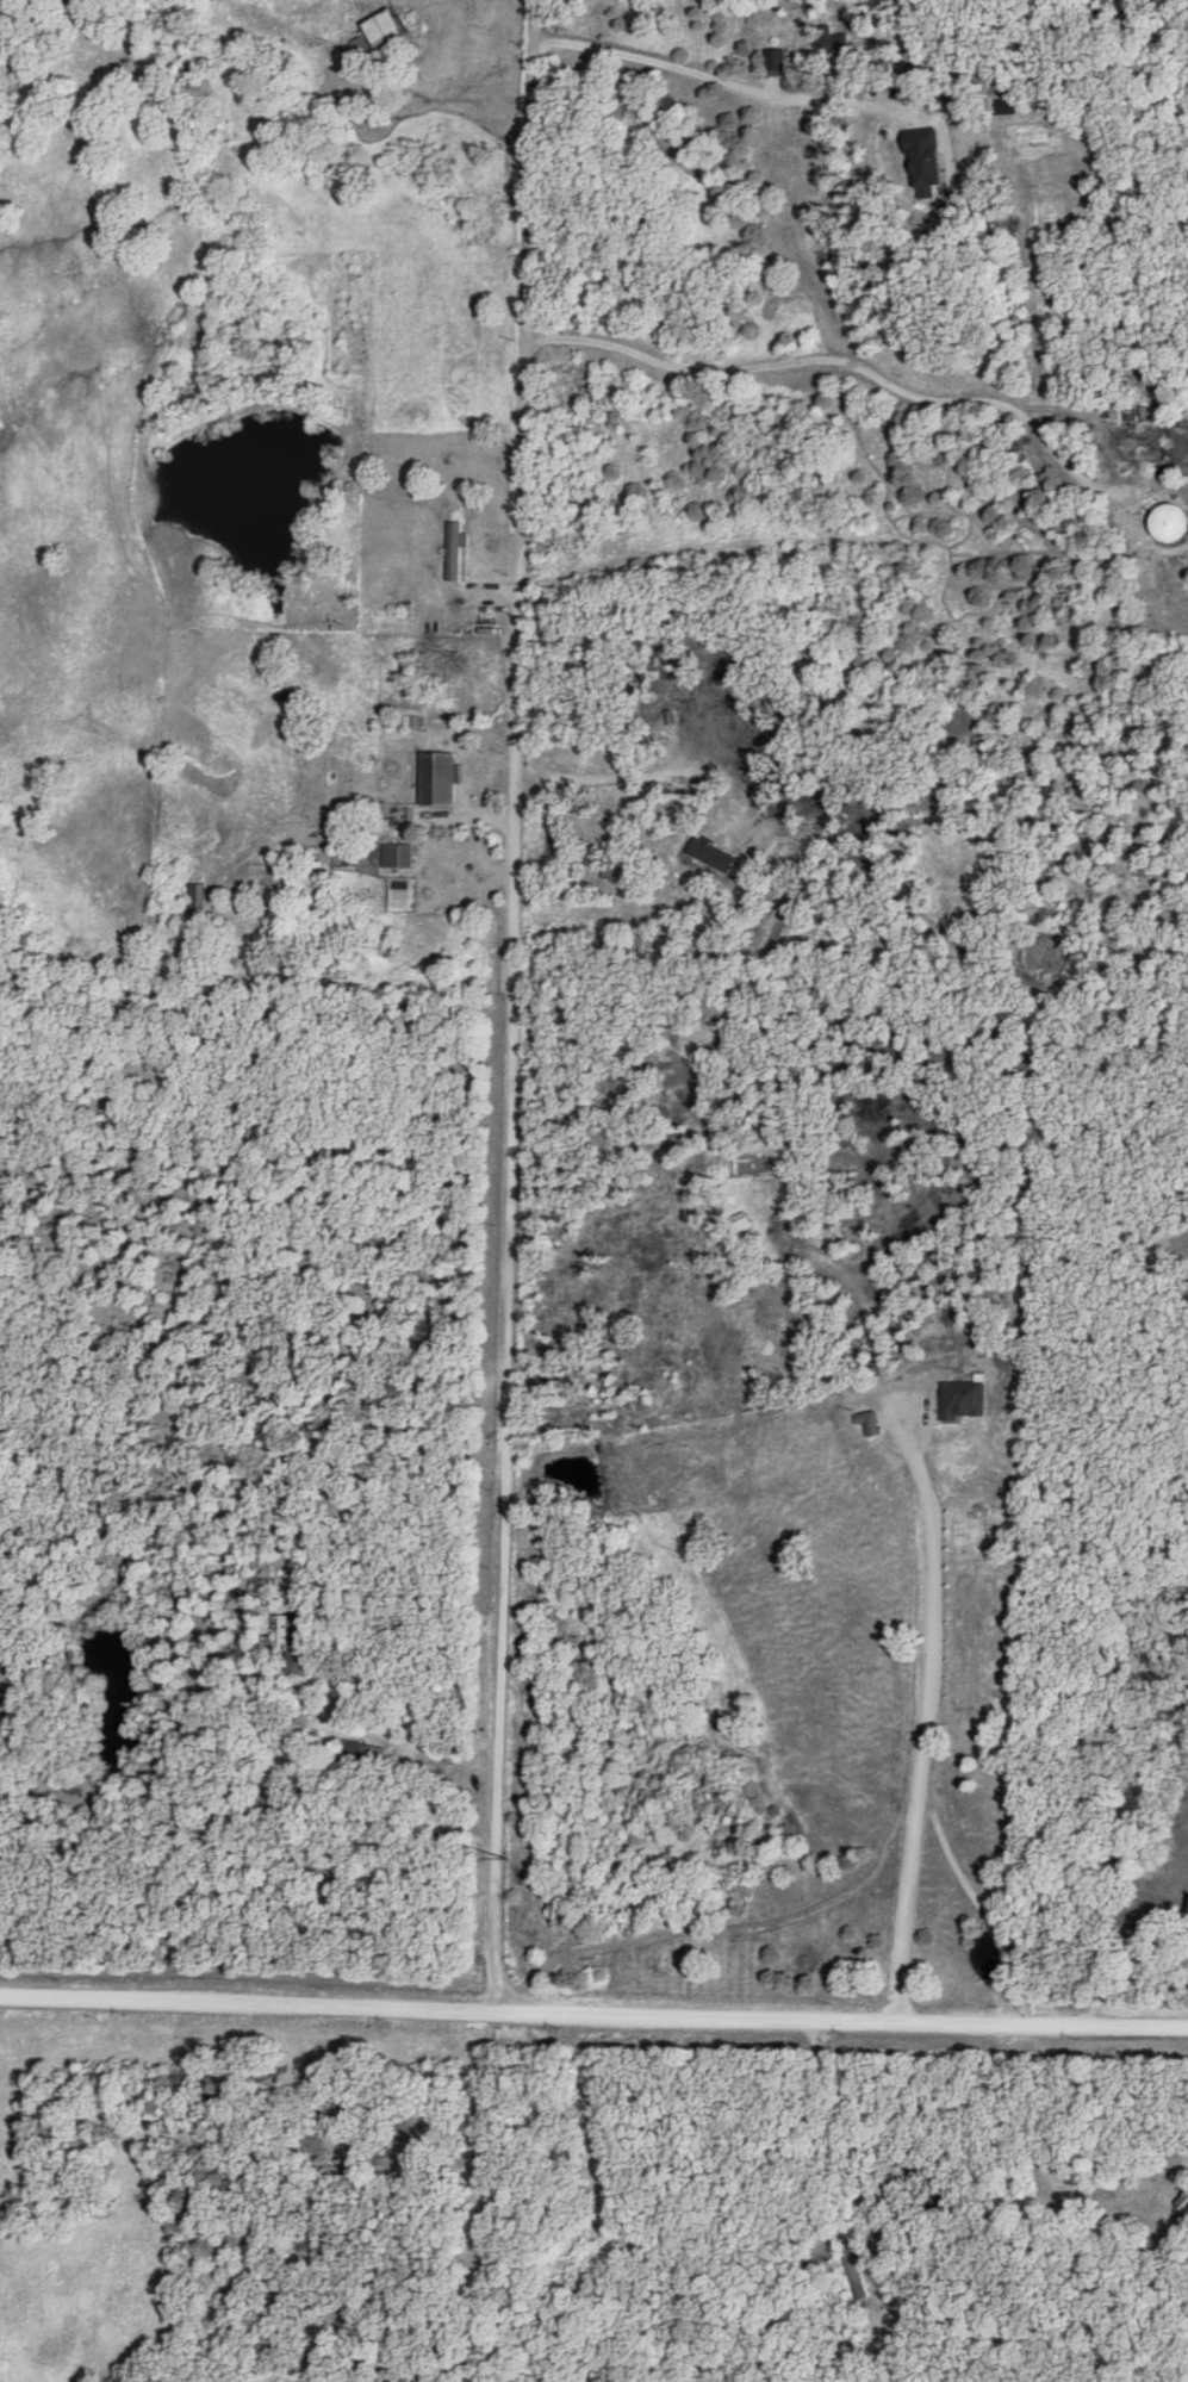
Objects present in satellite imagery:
building: (1169, 521)
building: (460, 551)
building: (438, 778)
building: (707, 851)
building: (399, 856)
building: (198, 897)
road: (516, 1007)
building: (773, 1233)
building: (965, 1399)
building: (294, 1643)
building: (362, 1754)
building: (1187, 1914)
road: (593, 2015)

